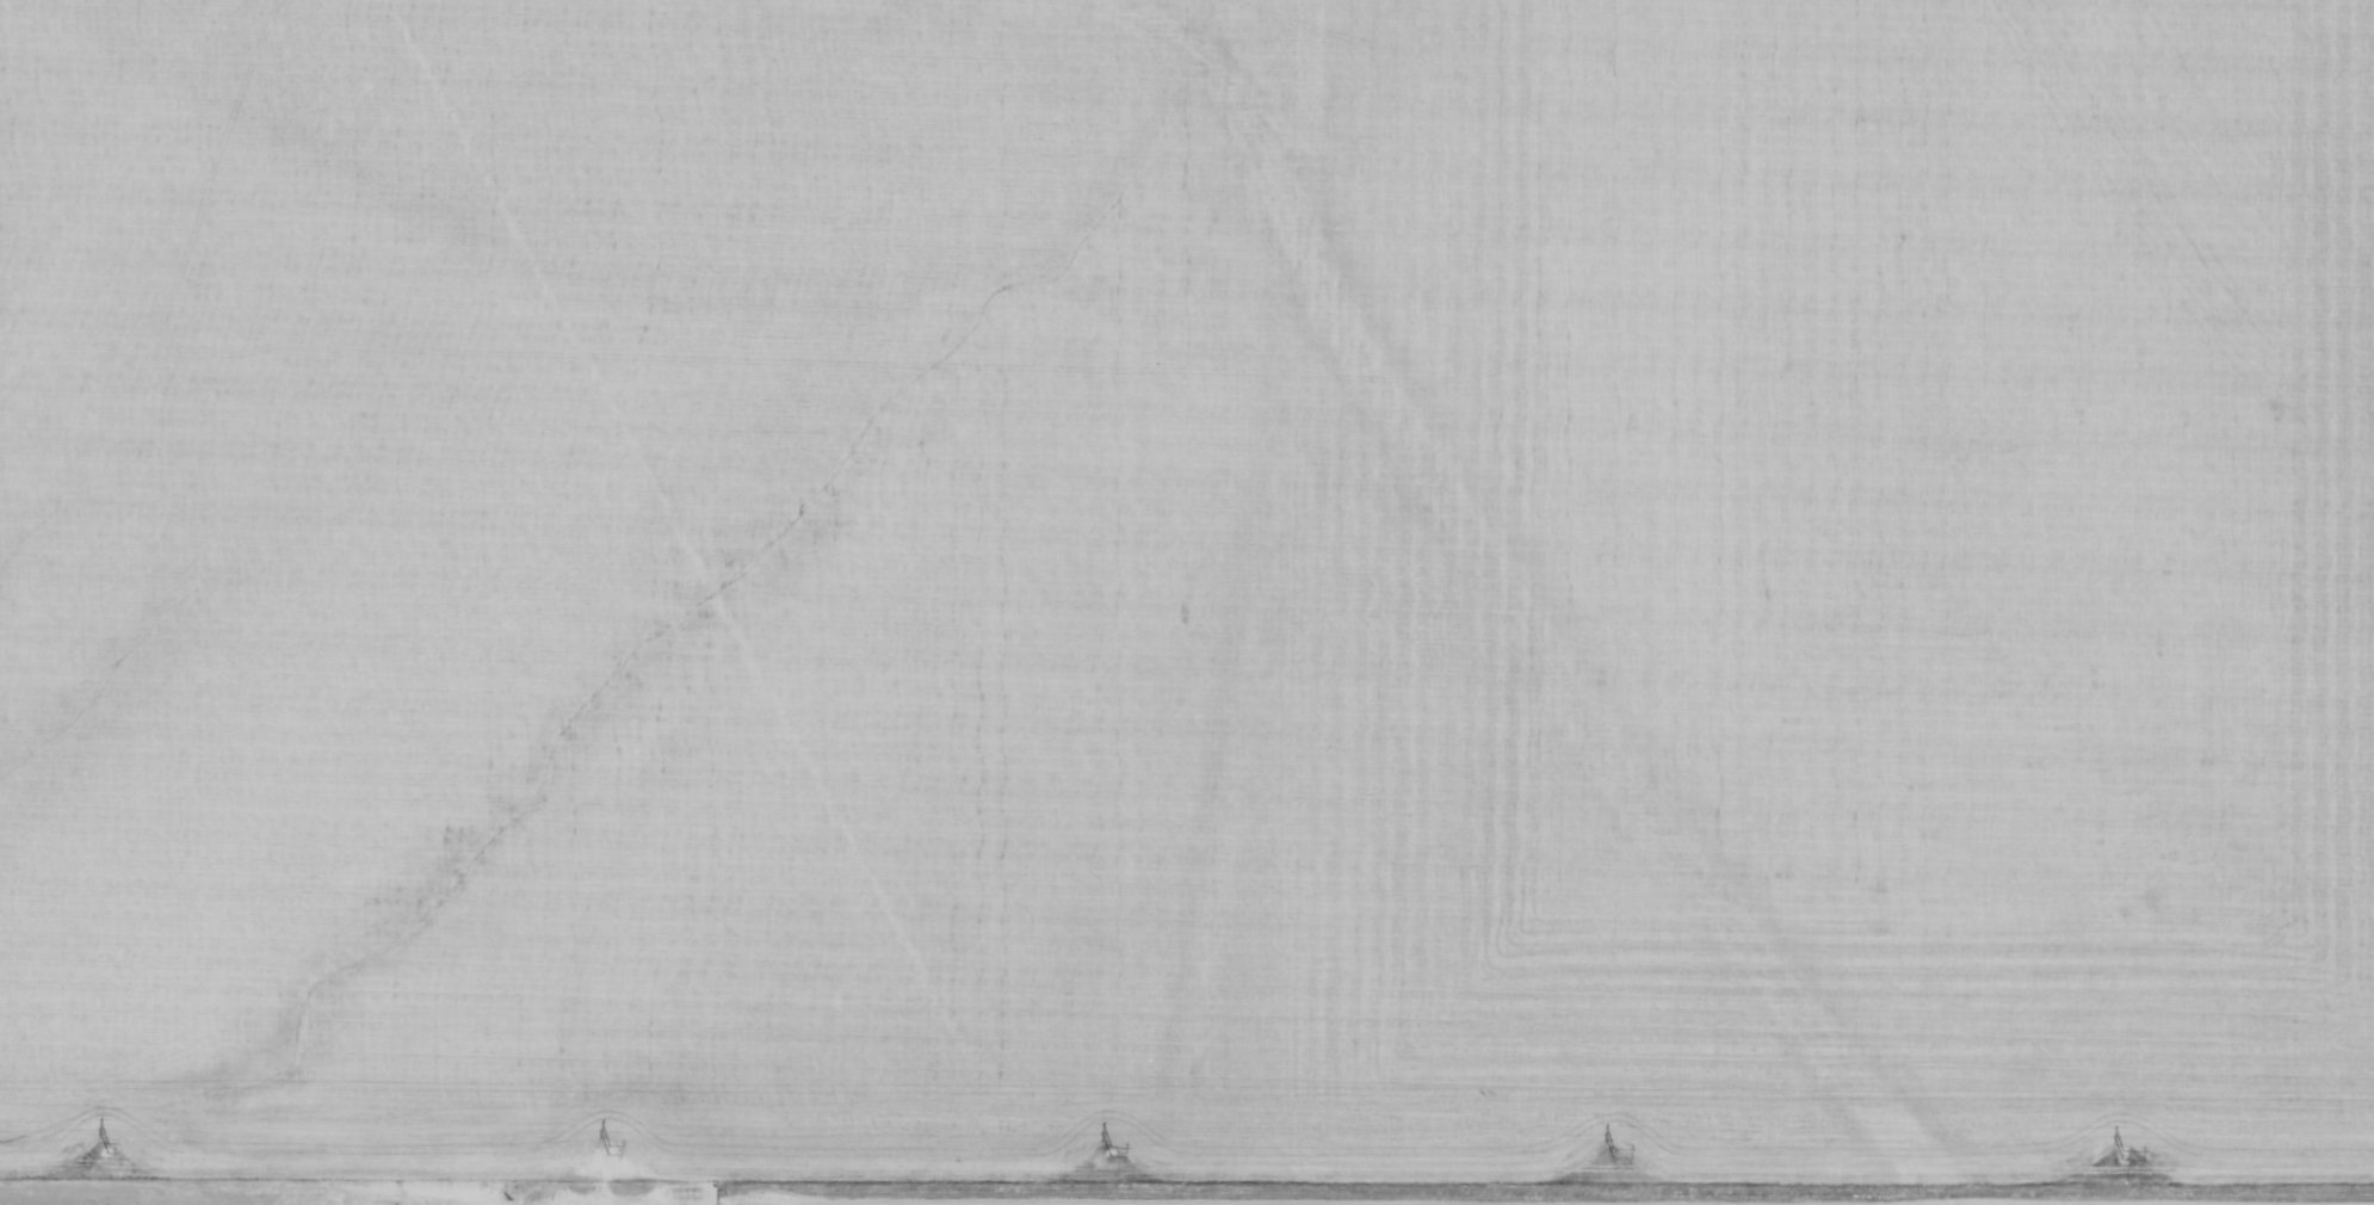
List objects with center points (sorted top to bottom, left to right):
power tower: (107, 1148)
power tower: (608, 1151)
power tower: (1109, 1153)
power tower: (1613, 1155)
power tower: (2125, 1156)

